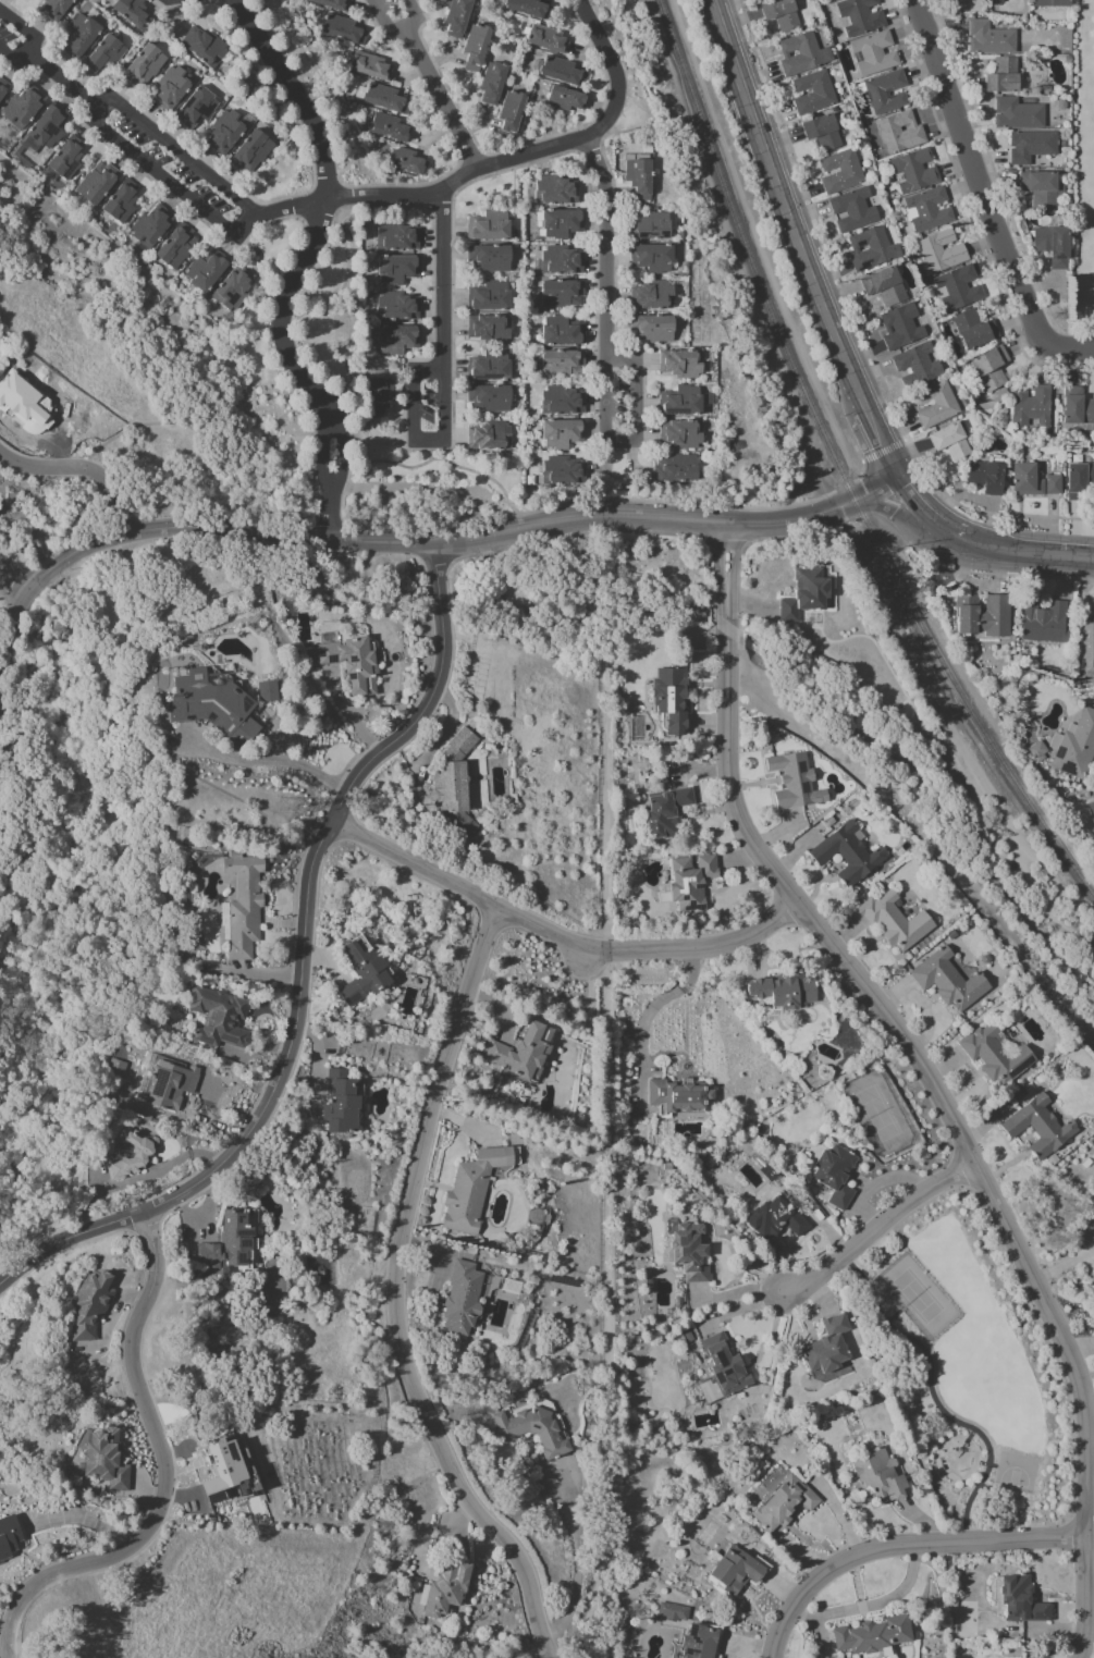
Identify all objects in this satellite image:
building: (836, 0)
building: (442, 1)
building: (996, 2)
building: (333, 4)
building: (1053, 4)
building: (58, 9)
building: (531, 9)
building: (135, 13)
building: (783, 15)
building: (861, 16)
building: (459, 19)
building: (344, 32)
road: (396, 32)
building: (82, 37)
building: (549, 39)
building: (992, 39)
road: (33, 44)
road: (598, 45)
building: (206, 48)
building: (477, 48)
building: (801, 54)
building: (876, 54)
building: (108, 56)
road: (49, 59)
building: (146, 67)
building: (372, 67)
building: (564, 73)
building: (1005, 77)
road: (61, 79)
building: (494, 84)
road: (321, 86)
building: (4, 89)
building: (174, 89)
building: (888, 93)
road: (295, 94)
building: (814, 94)
road: (440, 98)
building: (567, 99)
building: (388, 100)
road: (614, 103)
building: (25, 108)
building: (198, 109)
building: (513, 115)
building: (1019, 115)
road: (593, 118)
building: (51, 127)
building: (393, 130)
building: (228, 133)
building: (824, 133)
building: (902, 134)
building: (1032, 148)
road: (173, 152)
building: (254, 152)
road: (469, 157)
building: (69, 160)
building: (409, 162)
road: (527, 164)
road: (469, 171)
road: (218, 172)
building: (917, 172)
building: (843, 173)
road: (971, 176)
road: (148, 179)
building: (641, 179)
road: (167, 181)
park: (1082, 181)
road: (996, 183)
building: (99, 184)
road: (402, 185)
road: (775, 188)
building: (1041, 191)
building: (557, 193)
building: (123, 204)
road: (286, 208)
road: (333, 209)
building: (856, 211)
building: (929, 211)
building: (564, 224)
building: (153, 228)
building: (491, 228)
building: (653, 229)
building: (398, 238)
road: (824, 242)
building: (1055, 246)
road: (603, 247)
building: (179, 248)
building: (873, 250)
building: (944, 253)
building: (491, 259)
building: (654, 259)
building: (564, 262)
building: (400, 270)
building: (208, 271)
building: (886, 287)
building: (960, 288)
building: (235, 290)
building: (564, 294)
building: (491, 297)
building: (654, 297)
building: (398, 308)
road: (285, 311)
road: (343, 317)
building: (902, 329)
building: (491, 330)
building: (654, 330)
building: (976, 331)
building: (564, 333)
building: (400, 341)
road: (1067, 354)
building: (564, 365)
building: (683, 365)
building: (919, 367)
building: (491, 368)
building: (992, 369)
road: (442, 381)
building: (381, 397)
building: (491, 400)
building: (564, 402)
building: (683, 403)
building: (938, 406)
building: (1034, 408)
building: (1079, 408)
road: (235, 422)
road: (282, 422)
road: (148, 423)
road: (869, 427)
road: (332, 433)
building: (564, 434)
building: (684, 434)
road: (354, 437)
building: (492, 438)
road: (635, 440)
building: (952, 442)
road: (883, 449)
road: (339, 450)
road: (319, 452)
road: (428, 455)
road: (442, 459)
railway: (836, 464)
road: (66, 469)
building: (677, 469)
building: (565, 472)
road: (859, 472)
building: (988, 478)
building: (1029, 481)
building: (1081, 482)
road: (844, 487)
building: (1056, 487)
road: (874, 489)
road: (331, 493)
road: (907, 496)
road: (675, 503)
road: (888, 509)
road: (123, 512)
road: (332, 512)
road: (613, 514)
road: (791, 518)
road: (942, 527)
road: (126, 528)
road: (332, 529)
road: (612, 532)
road: (246, 533)
road: (490, 536)
road: (755, 539)
road: (454, 542)
road: (580, 545)
road: (726, 545)
road: (491, 550)
road: (1028, 552)
road: (464, 555)
road: (53, 567)
road: (726, 570)
road: (11, 577)
road: (586, 577)
building: (807, 595)
road: (11, 615)
building: (985, 616)
building: (1046, 623)
road: (726, 629)
building: (1089, 644)
building: (351, 663)
park: (161, 675)
building: (668, 699)
building: (210, 703)
building: (1074, 745)
building: (1035, 752)
road: (262, 760)
building: (792, 782)
building: (452, 783)
road: (12, 800)
building: (1091, 808)
power tower: (284, 811)
building: (664, 811)
building: (845, 853)
road: (106, 880)
building: (688, 881)
building: (242, 906)
building: (893, 921)
road: (556, 937)
road: (300, 969)
building: (361, 970)
building: (946, 981)
building: (780, 991)
road: (646, 1014)
building: (216, 1016)
building: (520, 1052)
building: (993, 1055)
building: (114, 1067)
building: (169, 1084)
building: (677, 1095)
building: (339, 1103)
road: (605, 1120)
road: (951, 1127)
building: (1036, 1127)
building: (134, 1153)
building: (833, 1175)
building: (470, 1190)
power tower: (1069, 1214)
building: (774, 1218)
road: (876, 1230)
building: (229, 1242)
building: (688, 1251)
road: (1061, 1264)
road: (393, 1295)
park: (918, 1297)
building: (460, 1299)
building: (88, 1306)
building: (825, 1351)
park: (982, 1356)
building: (723, 1364)
building: (531, 1428)
building: (103, 1459)
building: (221, 1469)
road: (162, 1471)
park: (1018, 1472)
building: (878, 1473)
building: (782, 1503)
road: (898, 1544)
road: (578, 1560)
building: (732, 1569)
building: (443, 1589)
building: (1018, 1599)
road: (870, 1604)
building: (671, 1611)
building: (871, 1634)
building: (698, 1642)

